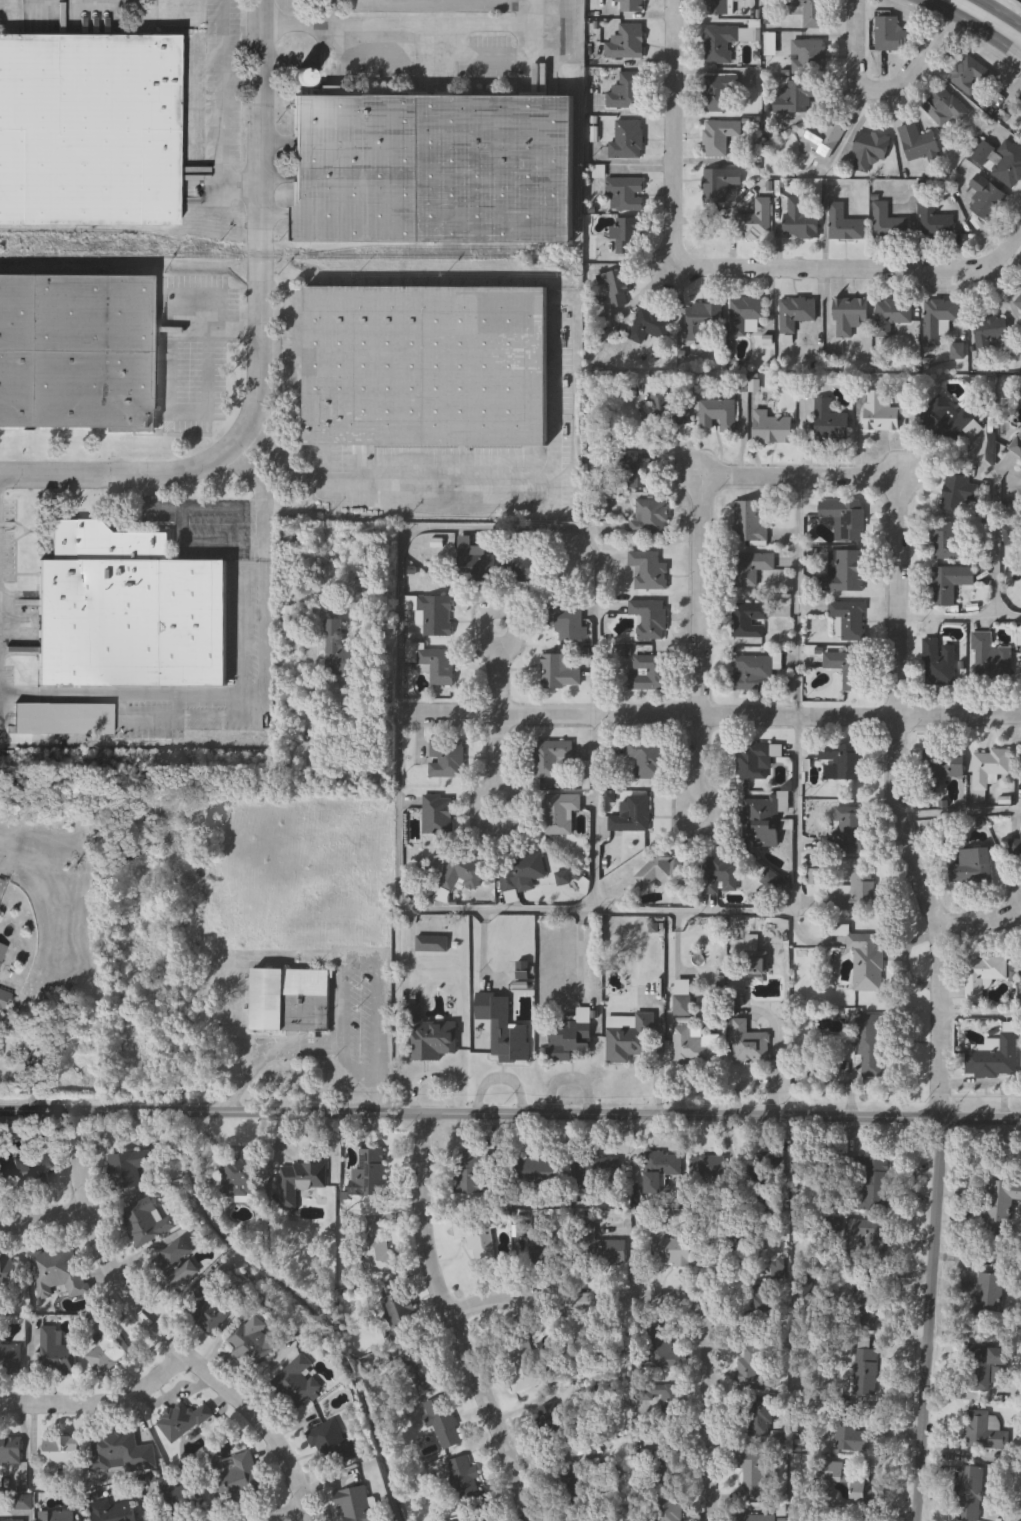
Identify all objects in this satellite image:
building: (632, 6)
building: (732, 7)
building: (811, 12)
road: (996, 14)
road: (410, 24)
road: (971, 26)
building: (888, 33)
building: (727, 42)
road: (854, 48)
building: (809, 57)
road: (920, 58)
building: (969, 75)
building: (628, 91)
building: (719, 94)
road: (224, 95)
building: (797, 97)
building: (944, 109)
building: (1020, 122)
building: (1020, 125)
building: (89, 129)
building: (721, 137)
building: (628, 139)
building: (823, 140)
building: (918, 143)
building: (982, 152)
building: (871, 154)
building: (1008, 164)
building: (436, 169)
building: (720, 184)
building: (627, 194)
building: (985, 197)
building: (758, 219)
building: (801, 219)
building: (934, 220)
building: (888, 223)
road: (675, 226)
building: (846, 227)
railway: (126, 232)
building: (628, 233)
railway: (416, 246)
railway: (103, 256)
railway: (358, 259)
road: (948, 271)
building: (617, 289)
building: (1017, 302)
building: (747, 313)
building: (797, 313)
building: (891, 314)
building: (938, 314)
building: (851, 318)
building: (706, 322)
building: (649, 324)
building: (988, 332)
road: (209, 342)
road: (258, 344)
building: (76, 352)
building: (428, 367)
building: (671, 410)
building: (720, 414)
building: (882, 415)
building: (945, 419)
building: (832, 423)
building: (773, 428)
building: (1018, 447)
building: (641, 470)
road: (250, 475)
road: (476, 484)
building: (960, 492)
road: (997, 492)
road: (191, 507)
building: (651, 517)
building: (752, 521)
building: (848, 521)
road: (423, 528)
building: (947, 542)
road: (700, 546)
building: (480, 563)
building: (524, 566)
building: (751, 568)
building: (650, 569)
building: (846, 574)
building: (949, 582)
road: (800, 597)
building: (130, 611)
building: (437, 615)
building: (651, 617)
road: (946, 617)
road: (1008, 618)
building: (750, 620)
building: (850, 621)
building: (566, 622)
building: (340, 649)
building: (990, 658)
building: (938, 662)
building: (434, 663)
building: (559, 671)
building: (849, 671)
building: (651, 672)
building: (753, 672)
road: (221, 695)
road: (631, 714)
road: (498, 718)
building: (65, 719)
road: (937, 720)
building: (550, 757)
building: (447, 758)
building: (649, 761)
building: (756, 761)
building: (850, 764)
building: (941, 766)
building: (989, 766)
road: (595, 812)
building: (561, 813)
building: (438, 815)
road: (959, 815)
building: (633, 816)
building: (763, 821)
building: (851, 832)
building: (1020, 850)
building: (971, 868)
building: (523, 871)
building: (662, 871)
building: (464, 872)
building: (721, 875)
building: (858, 895)
road: (593, 912)
road: (980, 921)
building: (3, 953)
building: (756, 962)
building: (866, 962)
road: (374, 967)
building: (982, 973)
road: (940, 996)
building: (4, 999)
building: (289, 999)
building: (682, 1005)
road: (981, 1015)
building: (503, 1027)
building: (431, 1036)
building: (569, 1037)
building: (629, 1037)
building: (748, 1043)
building: (869, 1043)
building: (694, 1045)
road: (308, 1047)
building: (994, 1058)
road: (249, 1076)
road: (366, 1078)
road: (935, 1115)
road: (424, 1119)
building: (128, 1170)
building: (30, 1171)
building: (662, 1173)
building: (706, 1173)
building: (370, 1174)
building: (470, 1174)
building: (536, 1174)
building: (594, 1174)
building: (238, 1178)
building: (300, 1181)
building: (756, 1182)
building: (871, 1185)
building: (1001, 1205)
road: (45, 1222)
building: (145, 1224)
building: (746, 1231)
building: (476, 1234)
building: (870, 1237)
building: (598, 1248)
building: (667, 1248)
building: (379, 1249)
building: (546, 1253)
building: (752, 1265)
building: (174, 1268)
building: (58, 1272)
building: (9, 1274)
building: (989, 1295)
building: (763, 1296)
road: (571, 1299)
building: (866, 1305)
building: (208, 1309)
building: (399, 1311)
road: (450, 1326)
road: (160, 1328)
building: (251, 1342)
building: (107, 1348)
building: (661, 1350)
building: (55, 1353)
building: (10, 1358)
building: (521, 1364)
building: (985, 1366)
building: (423, 1371)
building: (751, 1372)
building: (295, 1383)
building: (665, 1401)
road: (98, 1402)
road: (707, 1410)
building: (758, 1419)
building: (183, 1421)
building: (443, 1424)
building: (549, 1426)
building: (985, 1431)
building: (332, 1444)
building: (10, 1450)
building: (120, 1453)
building: (59, 1457)
building: (662, 1464)
building: (752, 1475)
building: (236, 1479)
building: (466, 1484)
building: (567, 1485)
building: (848, 1490)
building: (969, 1493)
building: (173, 1496)
building: (23, 1503)
building: (355, 1505)
road: (265, 1506)
building: (668, 1511)
building: (120, 1513)
building: (55, 1517)
building: (756, 1518)
building: (480, 1520)

